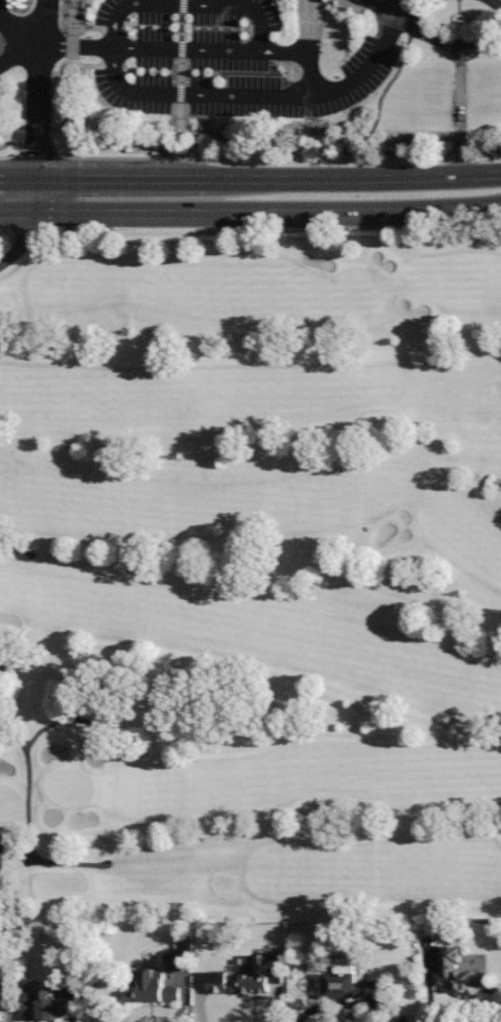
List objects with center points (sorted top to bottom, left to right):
road: (496, 4)
road: (389, 8)
road: (394, 8)
road: (30, 26)
road: (309, 27)
road: (95, 29)
road: (74, 31)
road: (424, 31)
road: (483, 36)
road: (125, 44)
road: (21, 54)
parking lot: (238, 66)
road: (98, 68)
park: (253, 80)
road: (78, 81)
road: (182, 91)
road: (220, 95)
road: (462, 112)
road: (38, 117)
traffic signals: (37, 150)
road: (136, 159)
road: (18, 178)
traffic signals: (79, 178)
road: (88, 178)
road: (173, 179)
road: (353, 179)
road: (16, 213)
road: (266, 213)
traffic signals: (27, 235)
road: (23, 243)
road: (7, 315)
park: (251, 574)
road: (1, 688)
road: (72, 720)
road: (33, 814)
building: (176, 954)
building: (457, 971)
building: (246, 975)
building: (349, 981)
building: (150, 986)
building: (44, 1004)
building: (1, 1005)

